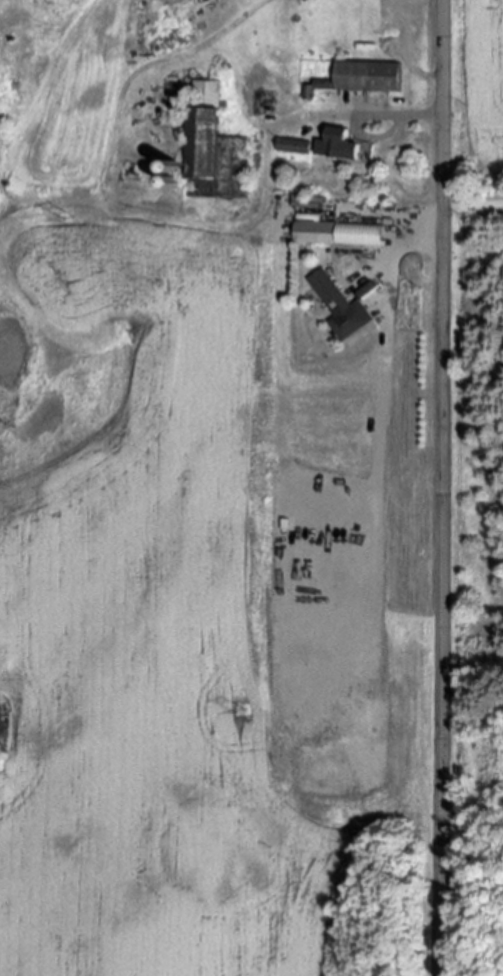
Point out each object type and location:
road: (404, 54)
building: (367, 75)
road: (354, 115)
building: (337, 144)
building: (215, 146)
road: (472, 204)
power tower: (68, 222)
building: (339, 233)
building: (339, 306)
road: (440, 488)
power tower: (240, 710)

